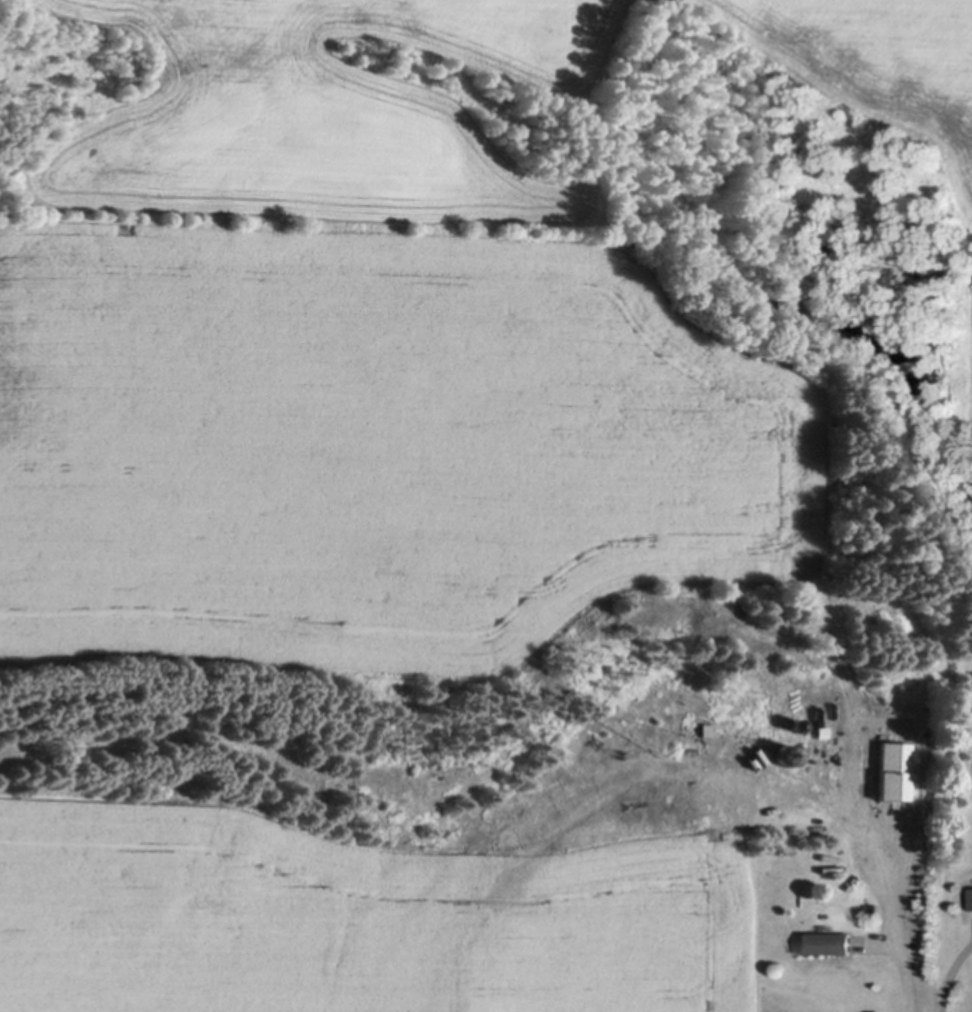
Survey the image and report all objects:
building: (796, 725)
building: (706, 728)
building: (834, 741)
building: (785, 752)
building: (726, 753)
building: (893, 769)
building: (971, 893)
building: (886, 908)
road: (899, 932)
building: (825, 942)

